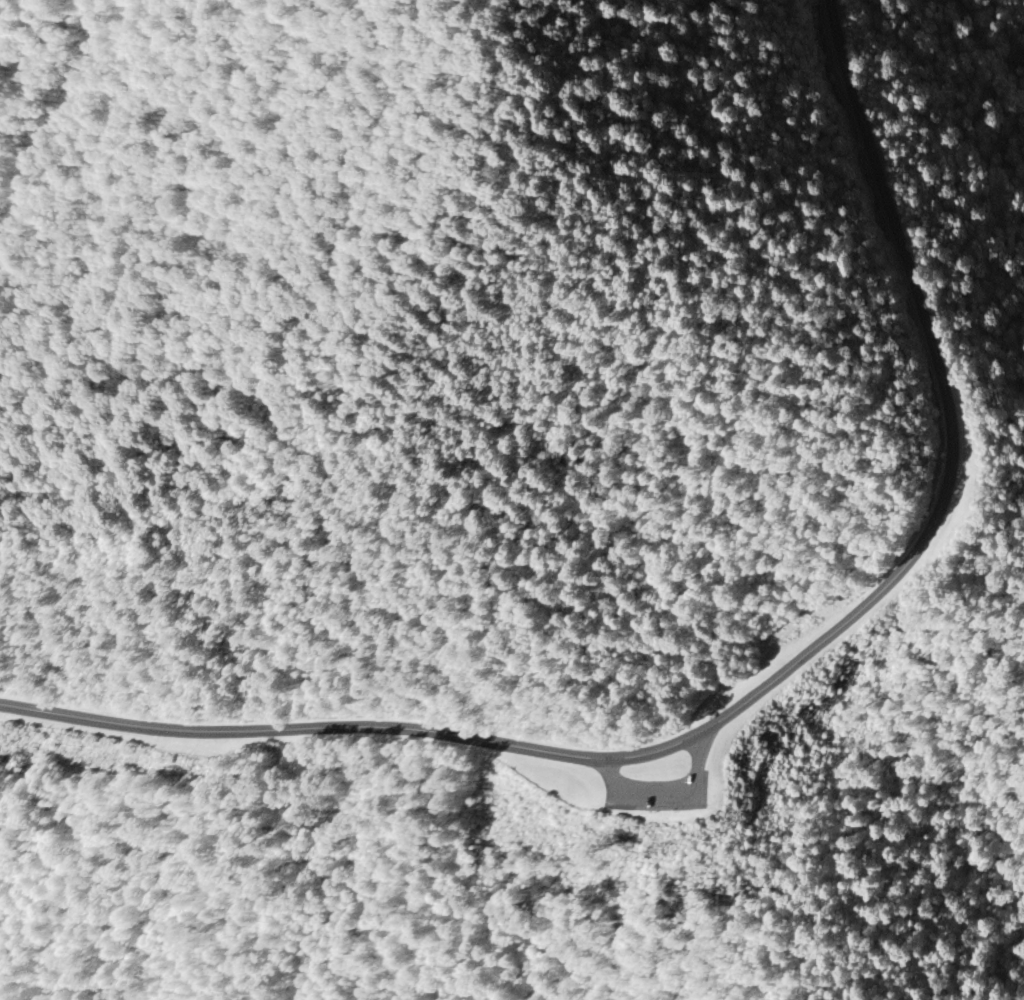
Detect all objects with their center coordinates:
road: (763, 691)
road: (670, 793)

